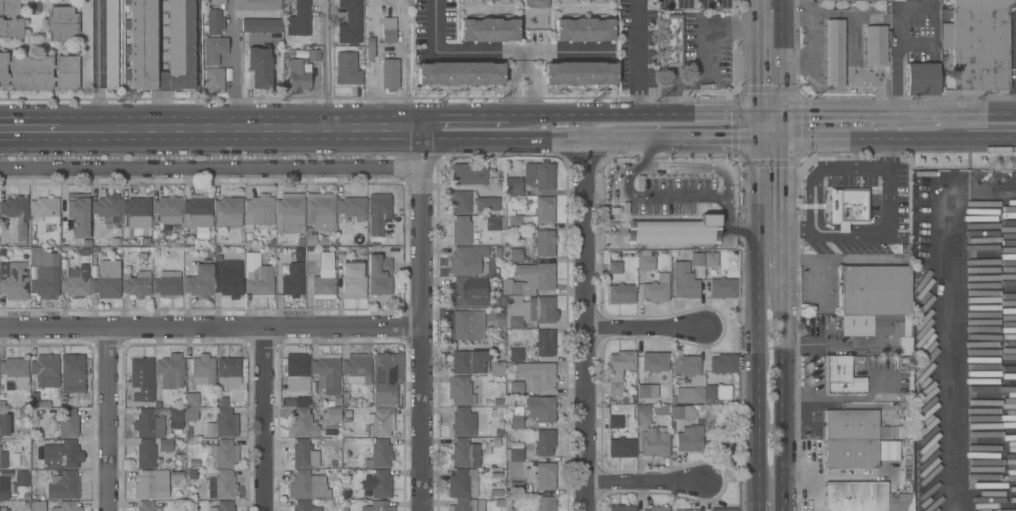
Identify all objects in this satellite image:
building: (490, 0)
building: (860, 0)
building: (215, 2)
building: (536, 3)
building: (984, 4)
building: (258, 5)
road: (812, 8)
building: (288, 9)
building: (10, 19)
building: (299, 19)
building: (215, 21)
building: (350, 22)
building: (61, 24)
building: (261, 25)
building: (389, 30)
building: (583, 30)
building: (489, 31)
building: (141, 37)
building: (671, 40)
building: (290, 42)
building: (85, 44)
building: (111, 44)
building: (874, 45)
building: (370, 47)
building: (214, 50)
building: (979, 50)
road: (452, 52)
road: (537, 52)
building: (833, 53)
building: (314, 55)
road: (639, 55)
road: (751, 55)
road: (782, 55)
road: (702, 59)
road: (1014, 63)
road: (327, 64)
road: (96, 65)
road: (233, 65)
building: (259, 67)
building: (346, 68)
building: (38, 72)
building: (389, 74)
building: (460, 74)
building: (580, 74)
building: (298, 76)
building: (921, 79)
building: (214, 80)
road: (466, 111)
road: (629, 111)
traffic signals: (751, 111)
road: (767, 111)
traffic signals: (783, 111)
road: (835, 111)
road: (912, 112)
road: (977, 112)
road: (751, 125)
road: (783, 126)
road: (887, 126)
road: (245, 129)
road: (28, 130)
road: (517, 139)
road: (636, 140)
road: (707, 140)
traffic signals: (751, 140)
road: (767, 140)
traffic signals: (783, 141)
road: (835, 141)
road: (926, 141)
road: (990, 141)
road: (647, 153)
road: (212, 169)
road: (722, 169)
building: (468, 175)
building: (541, 177)
road: (781, 183)
building: (513, 186)
building: (460, 202)
building: (487, 204)
building: (847, 206)
building: (45, 209)
building: (353, 209)
building: (167, 210)
building: (544, 210)
building: (136, 211)
building: (290, 211)
building: (320, 211)
building: (197, 212)
building: (228, 212)
building: (258, 212)
building: (378, 212)
building: (106, 213)
building: (78, 214)
building: (17, 215)
building: (515, 221)
building: (492, 224)
building: (669, 226)
building: (460, 230)
road: (881, 234)
building: (310, 239)
building: (544, 243)
road: (780, 247)
building: (515, 255)
building: (697, 259)
building: (644, 260)
building: (710, 260)
building: (464, 262)
building: (614, 268)
building: (44, 273)
building: (379, 275)
building: (197, 277)
building: (257, 277)
building: (324, 278)
building: (530, 279)
building: (13, 280)
building: (107, 280)
building: (292, 280)
building: (353, 280)
building: (683, 281)
building: (76, 283)
building: (229, 283)
building: (136, 284)
building: (168, 284)
building: (722, 288)
building: (656, 289)
building: (469, 292)
building: (621, 294)
building: (871, 295)
building: (528, 310)
road: (424, 319)
road: (952, 320)
road: (751, 322)
building: (470, 325)
road: (592, 325)
road: (211, 330)
road: (650, 330)
building: (894, 330)
building: (544, 343)
building: (515, 350)
building: (468, 362)
building: (654, 362)
building: (723, 364)
building: (686, 366)
building: (228, 367)
building: (357, 368)
building: (297, 369)
building: (497, 369)
building: (202, 370)
building: (618, 370)
building: (15, 371)
building: (45, 371)
building: (170, 371)
building: (71, 373)
building: (326, 373)
building: (537, 375)
building: (840, 375)
building: (142, 377)
building: (386, 378)
building: (516, 388)
road: (780, 390)
building: (460, 391)
building: (647, 391)
building: (716, 393)
building: (689, 395)
building: (192, 400)
building: (37, 401)
building: (540, 409)
building: (681, 413)
building: (191, 414)
building: (643, 414)
building: (711, 416)
building: (516, 417)
building: (175, 418)
road: (265, 420)
road: (110, 421)
building: (381, 422)
building: (463, 422)
building: (615, 422)
building: (68, 423)
building: (149, 424)
building: (223, 424)
building: (303, 424)
building: (4, 425)
building: (55, 427)
building: (689, 439)
building: (655, 442)
building: (544, 443)
building: (723, 444)
building: (165, 445)
building: (621, 448)
building: (887, 450)
building: (515, 451)
building: (36, 452)
building: (464, 453)
building: (145, 454)
building: (222, 454)
building: (61, 455)
building: (303, 455)
building: (379, 455)
building: (3, 460)
building: (541, 475)
building: (22, 478)
building: (514, 481)
building: (151, 484)
building: (377, 484)
building: (461, 484)
building: (6, 486)
building: (64, 486)
building: (219, 486)
building: (307, 486)
road: (649, 487)
building: (863, 497)
building: (545, 504)
building: (467, 505)
building: (37, 506)
building: (67, 506)
building: (147, 506)
building: (223, 506)
building: (377, 506)
building: (302, 507)
road: (753, 507)
building: (621, 508)
building: (2, 509)
building: (657, 509)
building: (684, 510)
building: (723, 510)

